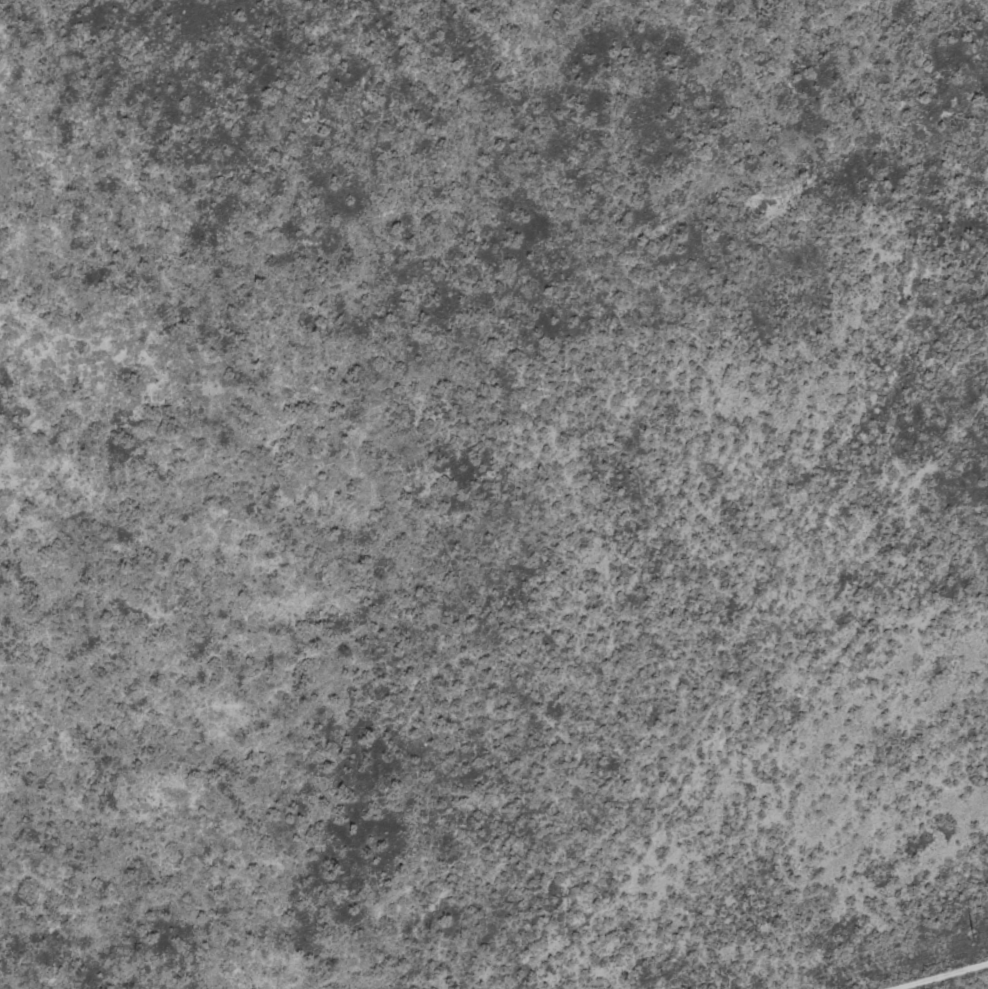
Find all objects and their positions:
power tower: (971, 937)

